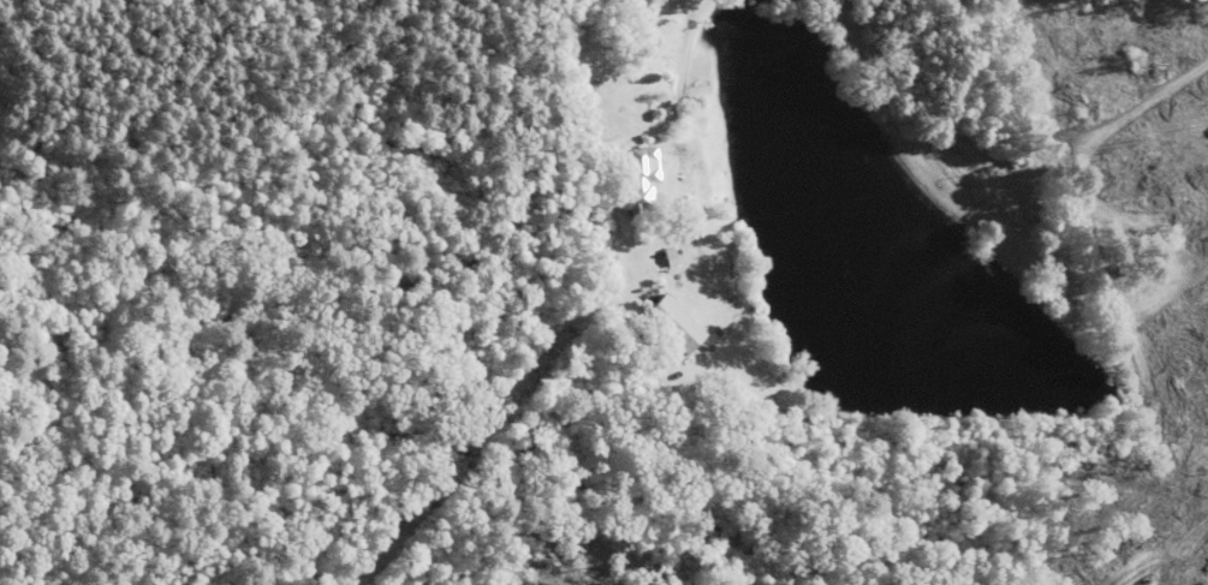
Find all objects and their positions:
building: (639, 181)
road: (423, 308)
building: (671, 327)

